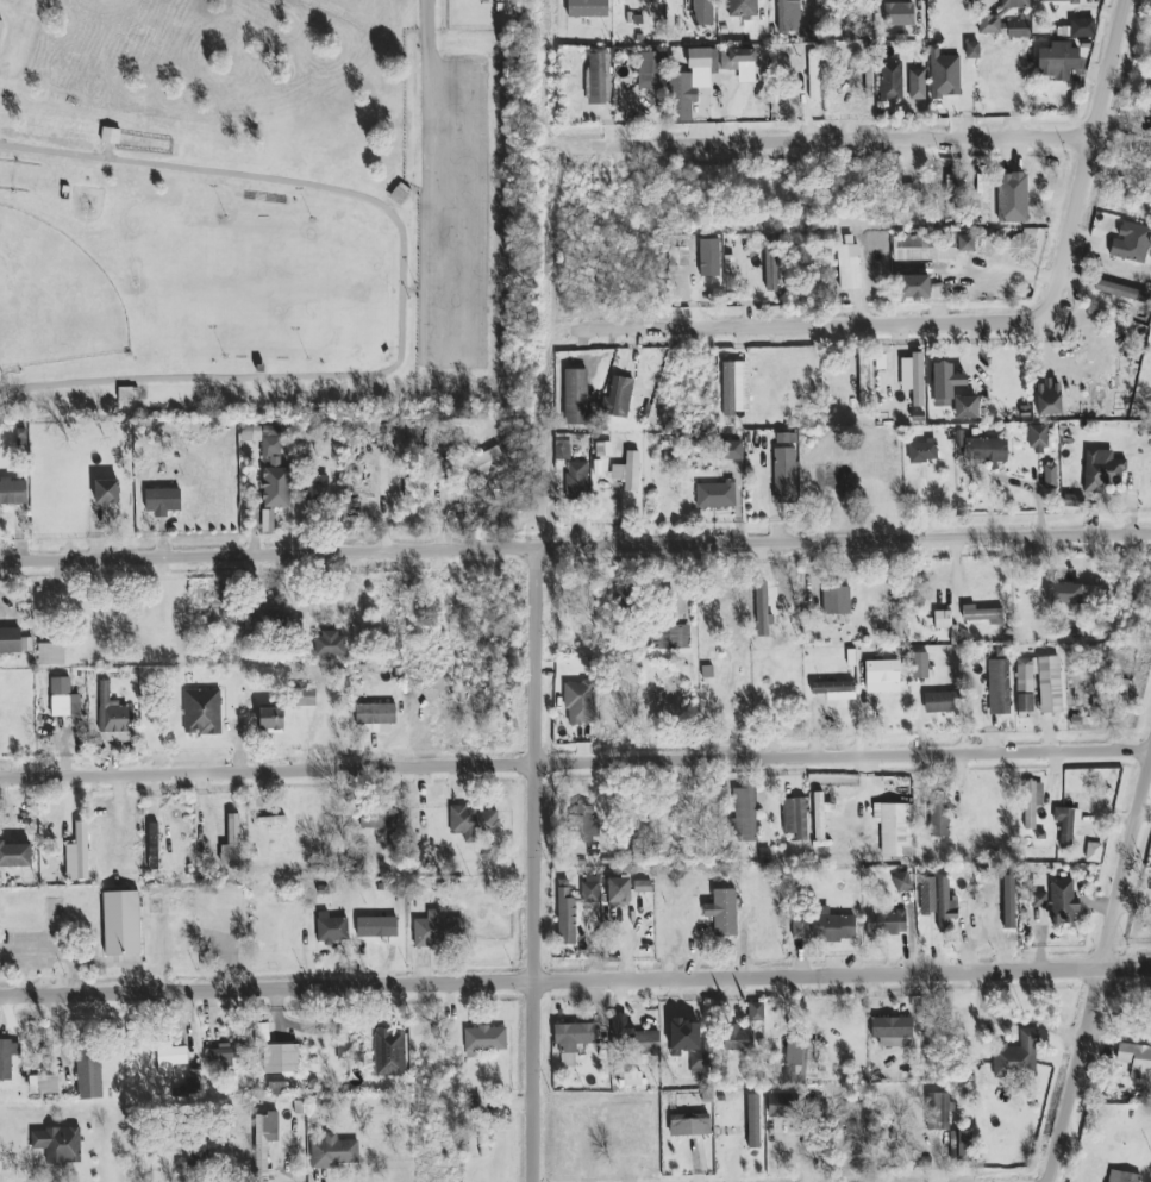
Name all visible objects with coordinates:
building: (1058, 1)
building: (1014, 4)
building: (743, 8)
building: (702, 13)
building: (899, 14)
building: (782, 15)
building: (989, 24)
building: (0, 26)
building: (1018, 29)
building: (812, 33)
building: (971, 50)
building: (695, 57)
road: (427, 61)
building: (1058, 61)
building: (739, 63)
building: (646, 69)
building: (944, 75)
building: (599, 79)
building: (890, 80)
building: (917, 85)
building: (814, 88)
building: (1150, 100)
road: (851, 139)
building: (102, 140)
building: (1012, 198)
building: (1131, 242)
building: (965, 243)
parking lot: (450, 244)
park: (206, 245)
building: (924, 246)
building: (1021, 246)
building: (674, 257)
building: (709, 257)
building: (849, 268)
building: (770, 269)
building: (730, 273)
building: (913, 287)
road: (399, 288)
park: (263, 290)
park: (52, 300)
road: (976, 325)
building: (913, 377)
building: (864, 381)
building: (945, 383)
building: (727, 389)
building: (575, 396)
building: (618, 398)
building: (1047, 398)
building: (965, 407)
building: (1038, 438)
building: (982, 449)
building: (732, 450)
building: (922, 451)
building: (484, 464)
building: (270, 465)
building: (784, 468)
building: (570, 470)
building: (1102, 470)
building: (628, 471)
building: (1050, 476)
building: (317, 488)
building: (419, 488)
building: (13, 492)
building: (107, 492)
building: (715, 495)
building: (162, 500)
road: (575, 546)
building: (1074, 593)
building: (836, 600)
building: (762, 611)
building: (982, 615)
building: (274, 620)
building: (943, 620)
building: (299, 627)
building: (669, 636)
building: (11, 640)
building: (330, 644)
building: (51, 653)
building: (920, 665)
building: (882, 671)
building: (1039, 683)
building: (999, 687)
building: (834, 690)
building: (306, 698)
building: (63, 699)
building: (580, 702)
building: (939, 702)
building: (111, 712)
building: (202, 712)
building: (375, 717)
building: (271, 720)
road: (575, 762)
building: (1032, 802)
building: (744, 812)
building: (820, 814)
building: (377, 818)
building: (795, 818)
building: (939, 819)
building: (269, 821)
building: (473, 823)
building: (587, 824)
building: (1066, 824)
building: (894, 828)
building: (233, 840)
building: (154, 846)
building: (1094, 852)
building: (15, 855)
road: (534, 864)
building: (901, 882)
building: (643, 887)
building: (619, 890)
building: (927, 895)
building: (1040, 900)
building: (1062, 900)
building: (574, 906)
building: (945, 906)
building: (722, 912)
building: (121, 924)
building: (886, 924)
building: (377, 927)
building: (822, 927)
building: (438, 930)
building: (332, 931)
road: (1099, 965)
road: (575, 983)
building: (756, 1014)
building: (620, 1026)
building: (892, 1031)
building: (683, 1036)
building: (573, 1039)
building: (737, 1039)
building: (484, 1040)
building: (648, 1043)
building: (389, 1052)
building: (7, 1057)
building: (170, 1057)
building: (1016, 1057)
building: (221, 1058)
building: (280, 1058)
building: (812, 1059)
building: (1136, 1061)
building: (699, 1064)
building: (89, 1074)
building: (43, 1084)
building: (193, 1084)
building: (275, 1084)
building: (783, 1106)
building: (938, 1112)
building: (689, 1125)
building: (482, 1143)
building: (264, 1144)
building: (58, 1145)
building: (961, 1146)
building: (333, 1152)
building: (193, 1162)
building: (1122, 1176)

